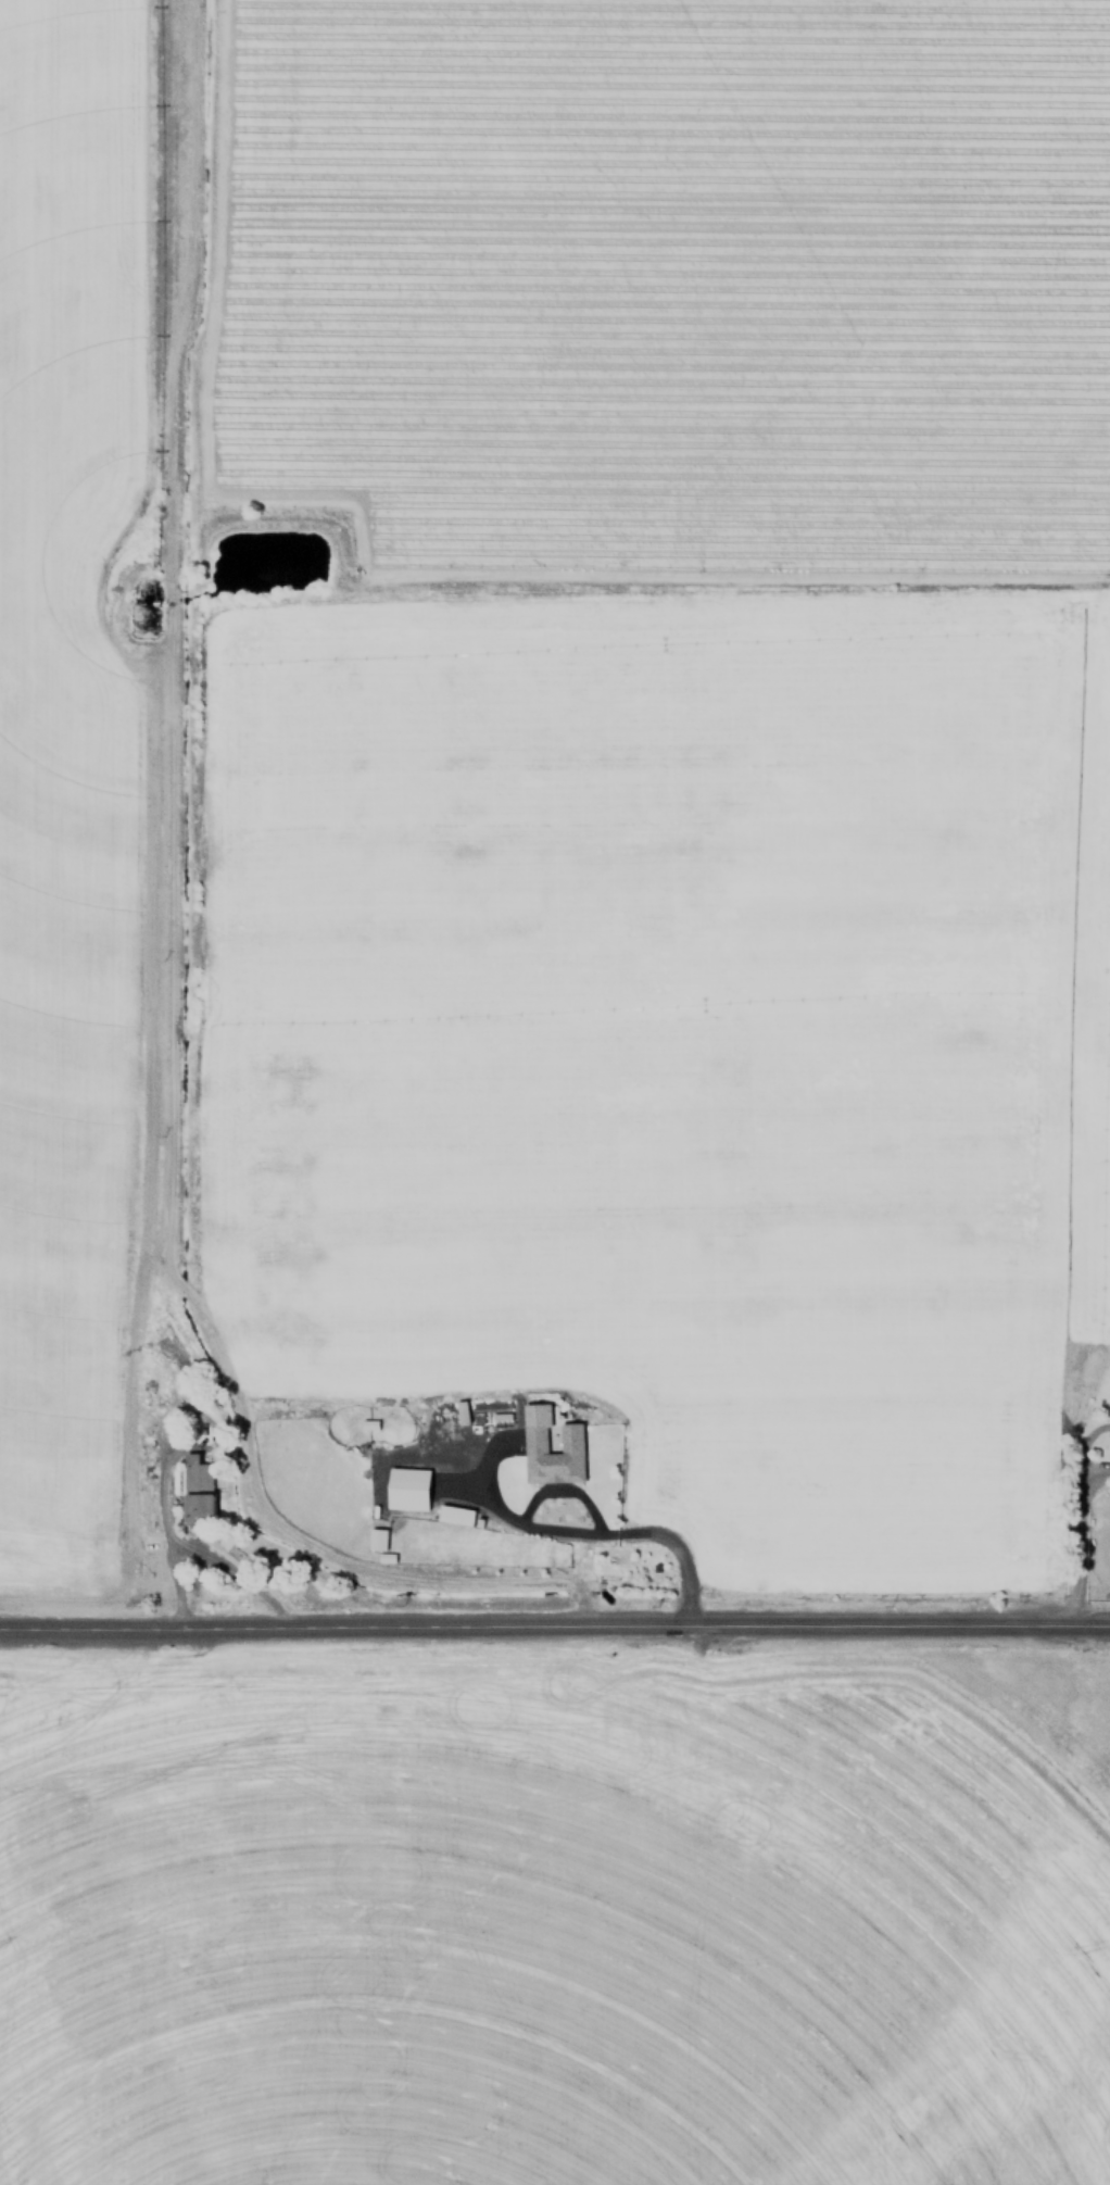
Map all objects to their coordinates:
crop: (503, 681)
building: (1109, 1435)
building: (534, 1439)
building: (199, 1485)
building: (409, 1487)
road: (166, 1522)
road: (581, 1531)
building: (378, 1537)
road: (554, 1628)
crop: (555, 1919)

